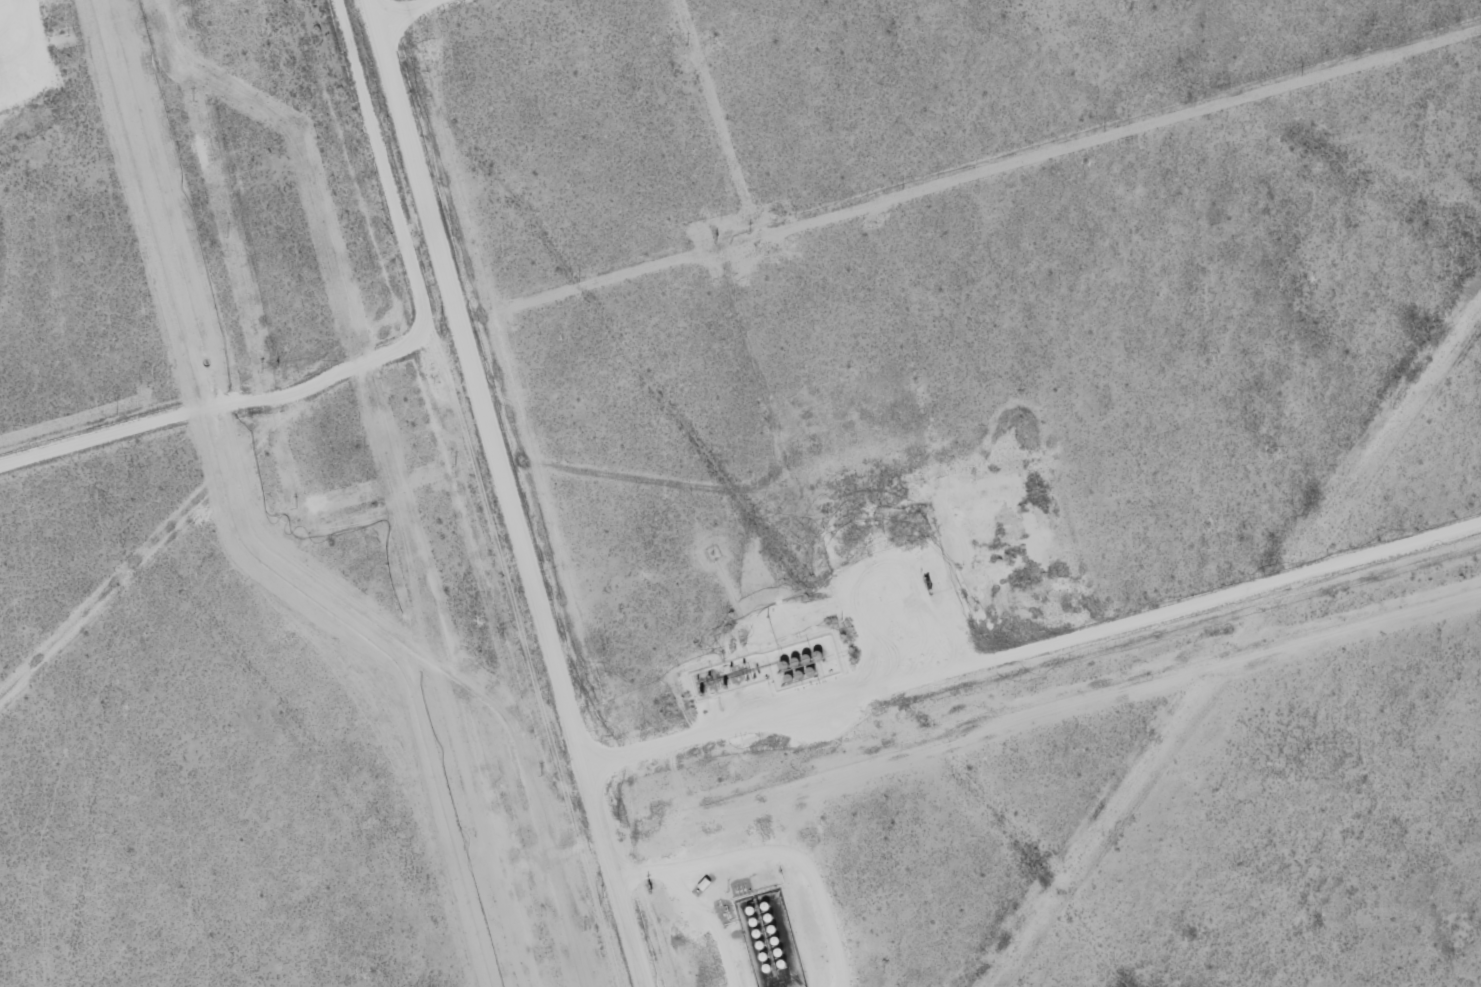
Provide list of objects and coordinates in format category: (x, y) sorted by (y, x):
road: (502, 493)
road: (1029, 639)

